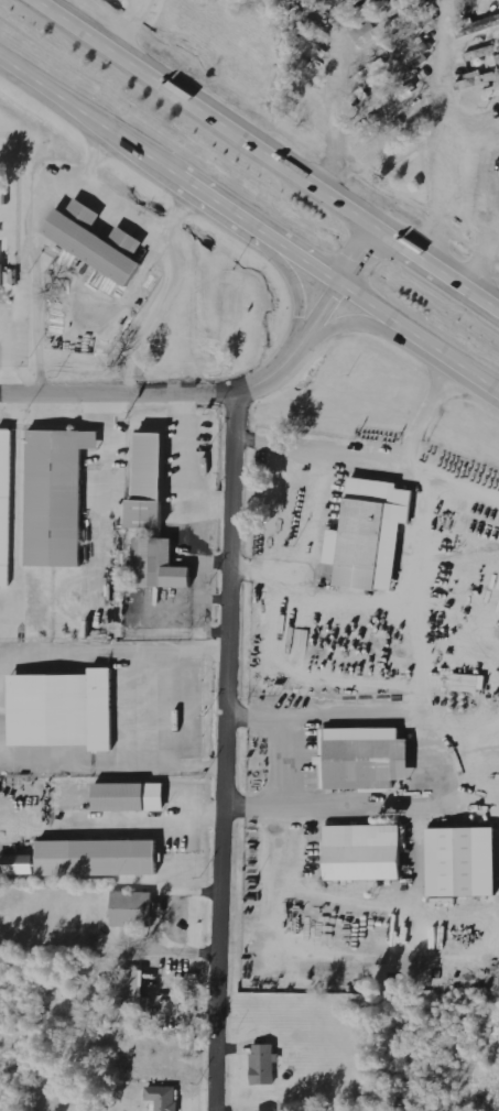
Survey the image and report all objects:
building: (399, 7)
road: (122, 21)
building: (370, 31)
building: (490, 92)
building: (371, 96)
road: (333, 97)
road: (437, 130)
road: (271, 155)
road: (249, 225)
road: (246, 235)
building: (97, 242)
park: (12, 273)
building: (2, 274)
road: (366, 319)
road: (227, 392)
road: (403, 445)
building: (150, 479)
building: (55, 497)
building: (6, 502)
road: (311, 502)
building: (371, 534)
building: (156, 565)
road: (155, 700)
parking lot: (159, 705)
building: (65, 707)
road: (422, 722)
road: (223, 751)
building: (365, 755)
road: (280, 759)
building: (128, 797)
road: (138, 820)
building: (364, 853)
building: (100, 854)
building: (453, 863)
building: (18, 864)
road: (182, 889)
road: (152, 907)
building: (133, 908)
road: (175, 946)
building: (132, 991)
building: (264, 1064)
building: (164, 1097)

